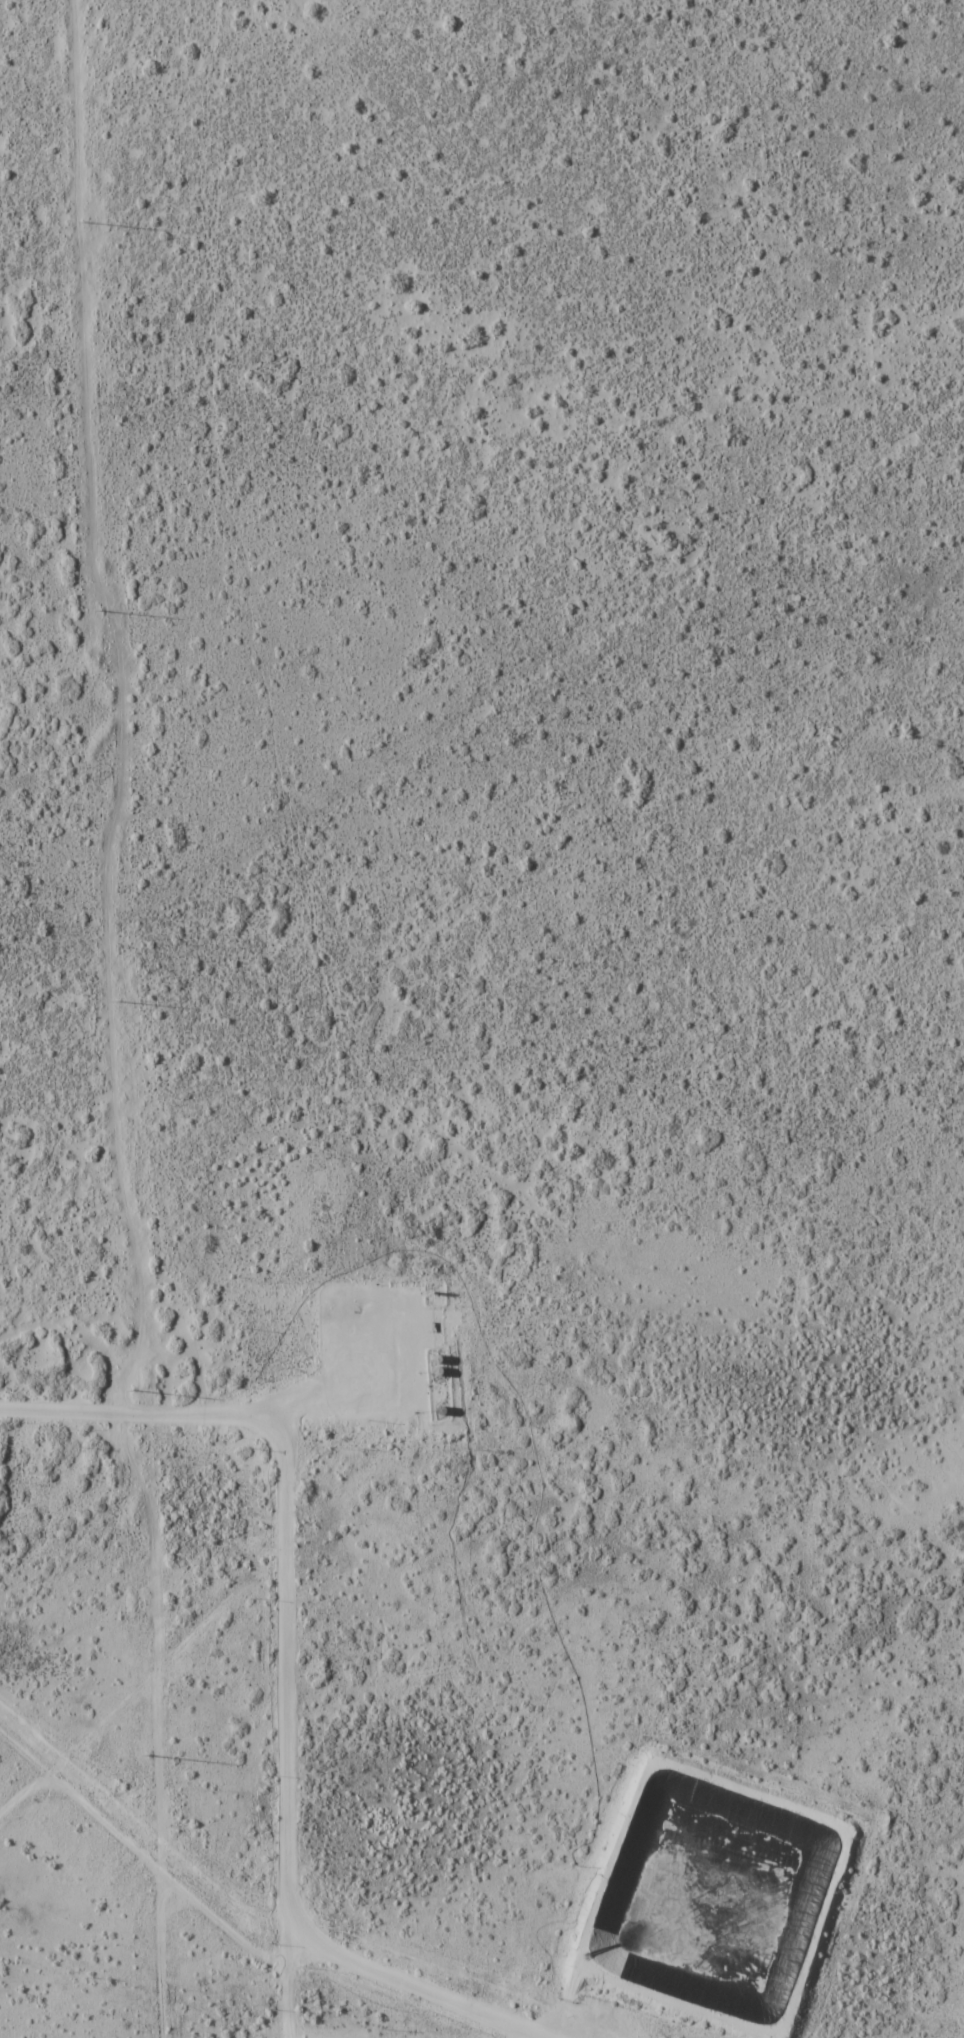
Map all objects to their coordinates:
petroleum well: (356, 1312)
road: (364, 1362)
road: (287, 1661)

